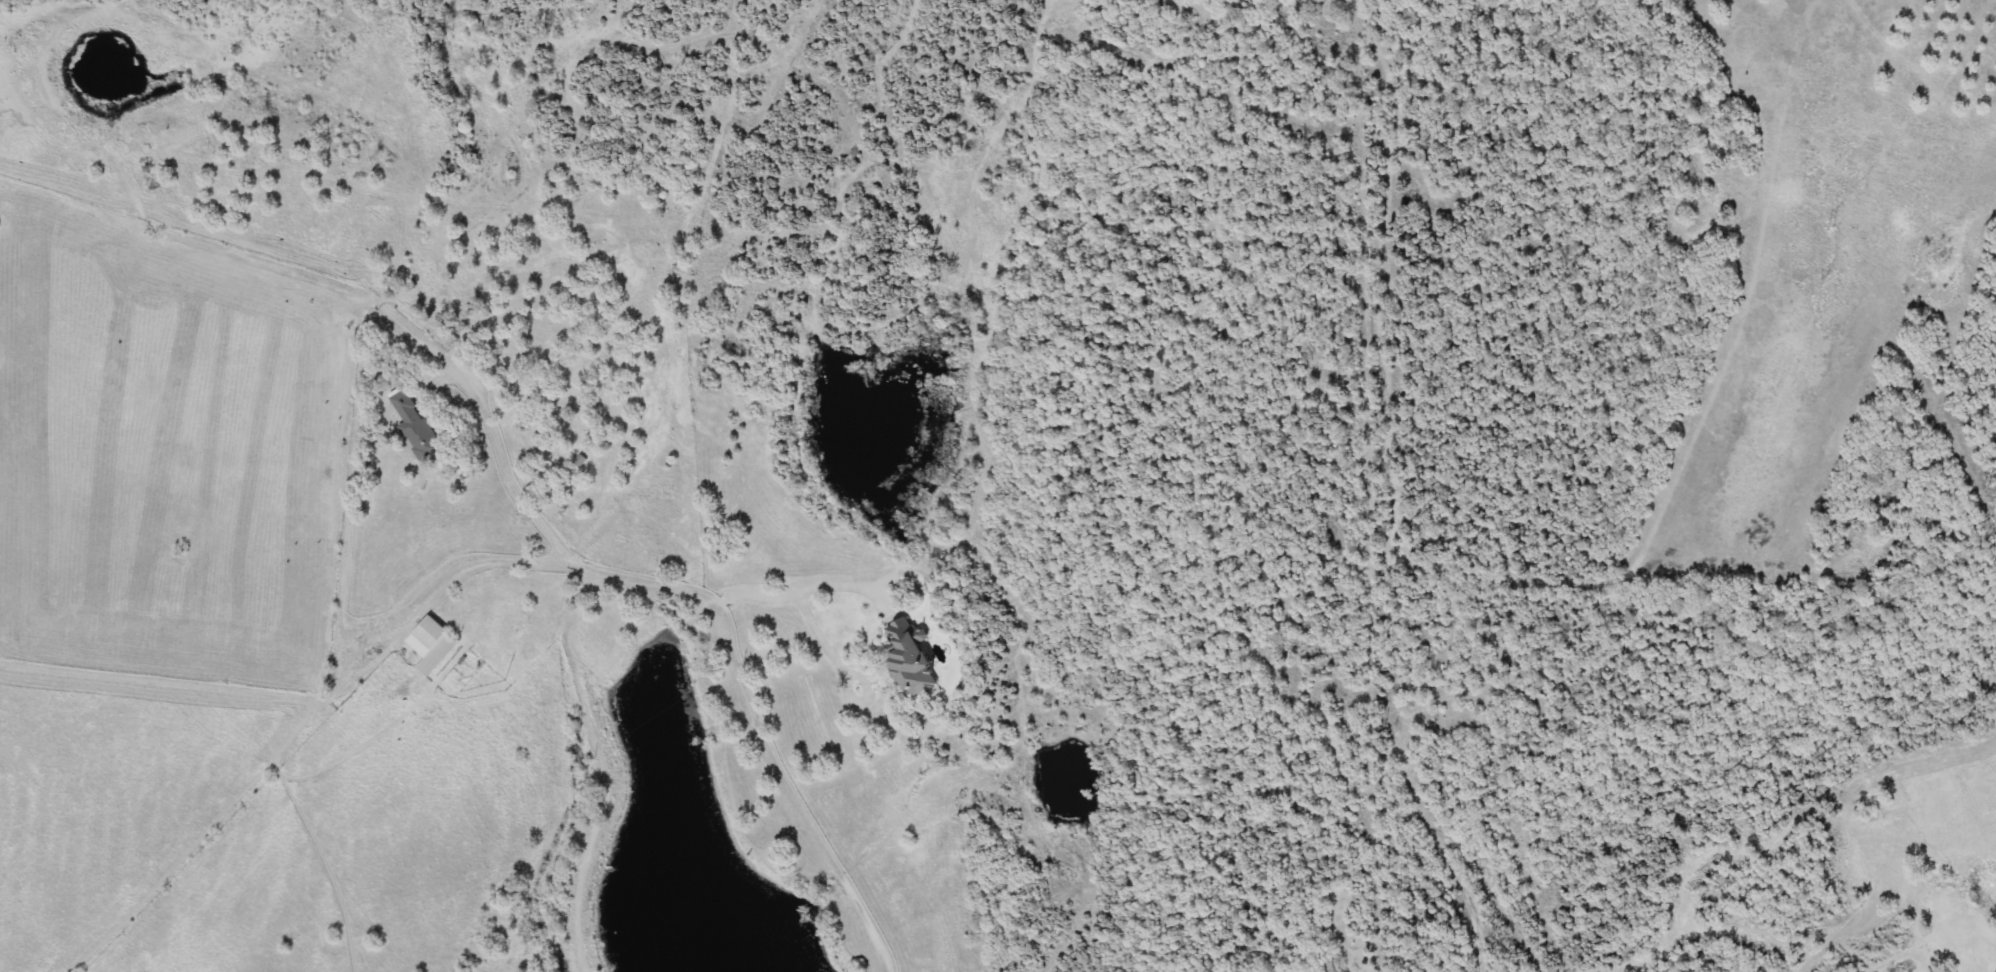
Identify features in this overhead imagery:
power tower: (1823, 226)
building: (415, 420)
road: (510, 469)
power tower: (1975, 490)
road: (460, 565)
road: (803, 601)
building: (430, 641)
building: (913, 651)
road: (758, 729)

